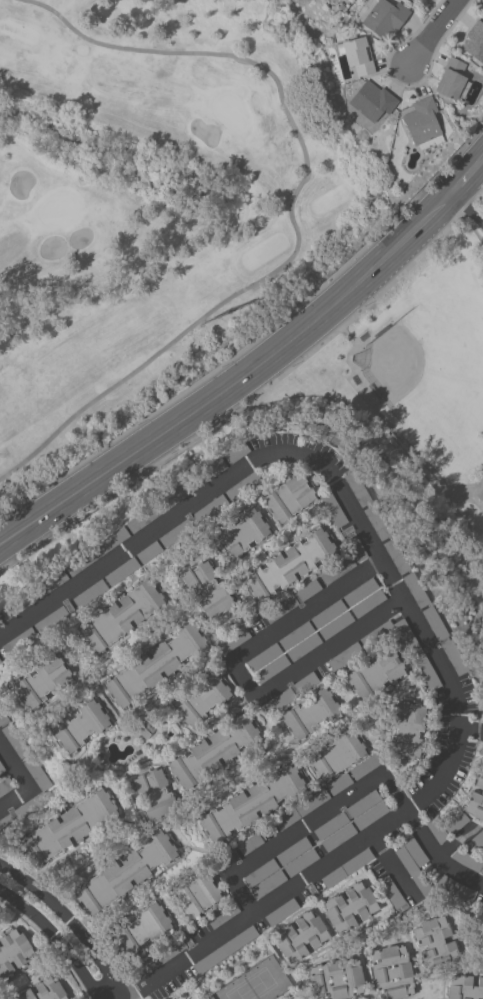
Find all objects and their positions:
building: (410, 0)
building: (385, 17)
road: (434, 33)
building: (475, 41)
building: (356, 55)
building: (453, 80)
building: (372, 102)
building: (423, 123)
road: (467, 176)
road: (467, 208)
road: (290, 211)
park: (431, 368)
road: (235, 382)
park: (416, 405)
road: (384, 420)
building: (236, 452)
road: (301, 460)
building: (209, 472)
road: (273, 482)
building: (242, 486)
road: (319, 488)
building: (356, 489)
building: (176, 495)
building: (480, 495)
building: (289, 498)
building: (210, 509)
building: (333, 509)
road: (237, 512)
road: (190, 515)
building: (143, 519)
building: (376, 522)
road: (305, 526)
building: (177, 531)
building: (243, 532)
road: (352, 534)
building: (111, 541)
road: (213, 541)
building: (355, 548)
building: (148, 552)
road: (134, 556)
building: (396, 556)
building: (82, 562)
building: (289, 564)
building: (337, 570)
building: (121, 571)
road: (173, 574)
road: (305, 577)
building: (49, 583)
road: (325, 586)
building: (206, 590)
building: (308, 590)
building: (415, 590)
building: (359, 592)
building: (90, 594)
road: (246, 594)
road: (244, 596)
building: (367, 604)
building: (17, 605)
road: (191, 606)
building: (280, 609)
road: (56, 611)
road: (229, 614)
building: (327, 614)
building: (121, 615)
road: (228, 616)
road: (183, 617)
road: (81, 618)
road: (222, 619)
building: (51, 620)
road: (414, 621)
building: (434, 623)
road: (141, 625)
building: (335, 625)
road: (133, 626)
road: (263, 627)
building: (377, 634)
building: (295, 636)
building: (232, 641)
building: (19, 642)
building: (303, 647)
road: (421, 649)
road: (402, 654)
building: (344, 656)
building: (263, 657)
building: (453, 657)
road: (226, 659)
building: (154, 665)
road: (71, 666)
road: (231, 669)
building: (271, 669)
road: (319, 671)
building: (426, 672)
building: (375, 673)
road: (95, 676)
road: (243, 677)
road: (413, 679)
building: (42, 681)
road: (341, 686)
road: (230, 689)
building: (289, 694)
road: (406, 696)
building: (202, 699)
road: (150, 700)
road: (336, 700)
road: (252, 701)
road: (239, 706)
road: (21, 708)
road: (105, 710)
road: (67, 711)
road: (126, 712)
building: (310, 713)
building: (3, 718)
road: (271, 718)
road: (182, 724)
road: (4, 725)
building: (80, 726)
building: (406, 729)
building: (145, 731)
road: (470, 732)
building: (15, 741)
road: (372, 747)
building: (481, 750)
building: (214, 751)
road: (61, 754)
building: (336, 754)
road: (155, 762)
building: (366, 765)
building: (1, 769)
road: (104, 769)
road: (394, 771)
road: (7, 774)
road: (238, 783)
building: (338, 784)
road: (24, 785)
road: (321, 785)
building: (5, 786)
road: (316, 786)
road: (37, 792)
building: (154, 793)
road: (444, 793)
building: (39, 796)
building: (476, 799)
road: (133, 801)
building: (251, 803)
building: (363, 804)
road: (457, 804)
road: (459, 807)
building: (301, 809)
building: (370, 815)
road: (120, 816)
road: (164, 821)
building: (455, 823)
building: (330, 825)
road: (474, 825)
building: (68, 827)
road: (307, 827)
building: (437, 830)
road: (238, 832)
road: (270, 833)
building: (338, 837)
building: (475, 841)
road: (454, 842)
building: (250, 844)
road: (184, 847)
building: (293, 851)
road: (232, 858)
road: (436, 858)
road: (178, 860)
building: (467, 860)
road: (23, 861)
building: (221, 862)
building: (300, 863)
building: (413, 863)
building: (347, 868)
road: (393, 869)
building: (481, 871)
building: (124, 873)
building: (260, 873)
building: (268, 884)
building: (456, 888)
road: (307, 892)
building: (392, 894)
building: (197, 895)
road: (476, 895)
road: (312, 904)
building: (349, 907)
road: (408, 907)
road: (78, 909)
road: (70, 910)
building: (281, 912)
building: (222, 915)
road: (119, 916)
road: (184, 921)
road: (324, 921)
road: (69, 922)
road: (20, 927)
building: (142, 928)
road: (405, 932)
building: (300, 936)
road: (335, 939)
road: (58, 942)
building: (435, 943)
road: (49, 944)
road: (410, 945)
building: (225, 950)
building: (13, 952)
building: (159, 958)
road: (315, 962)
road: (472, 970)
building: (392, 972)
road: (12, 974)
building: (336, 979)
park: (256, 983)
road: (442, 986)
road: (24, 988)
building: (465, 988)
road: (132, 989)
building: (44, 990)
road: (372, 993)
road: (298, 996)
road: (145, 998)
road: (147, 998)
road: (353, 998)

